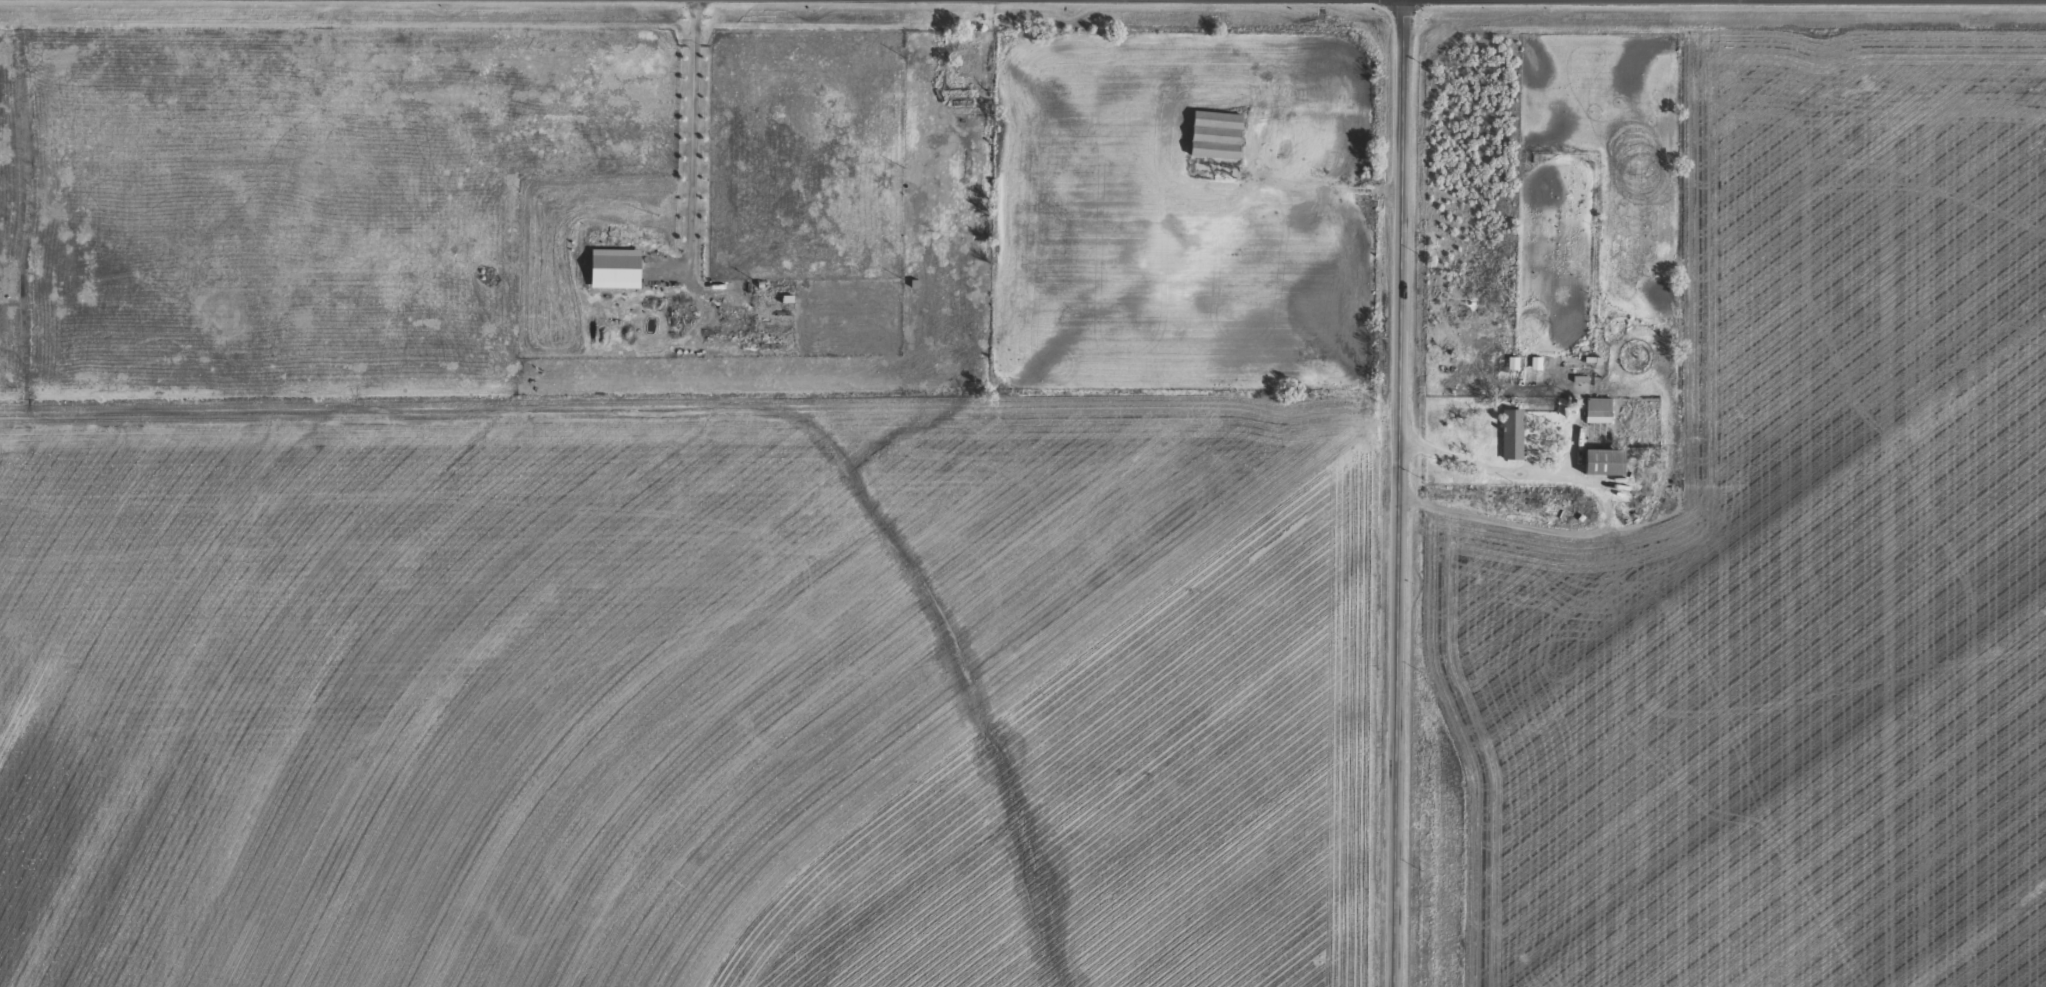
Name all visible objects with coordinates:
road: (694, 139)
building: (617, 278)
building: (1514, 372)
building: (1513, 443)
building: (1608, 471)
road: (1402, 493)

